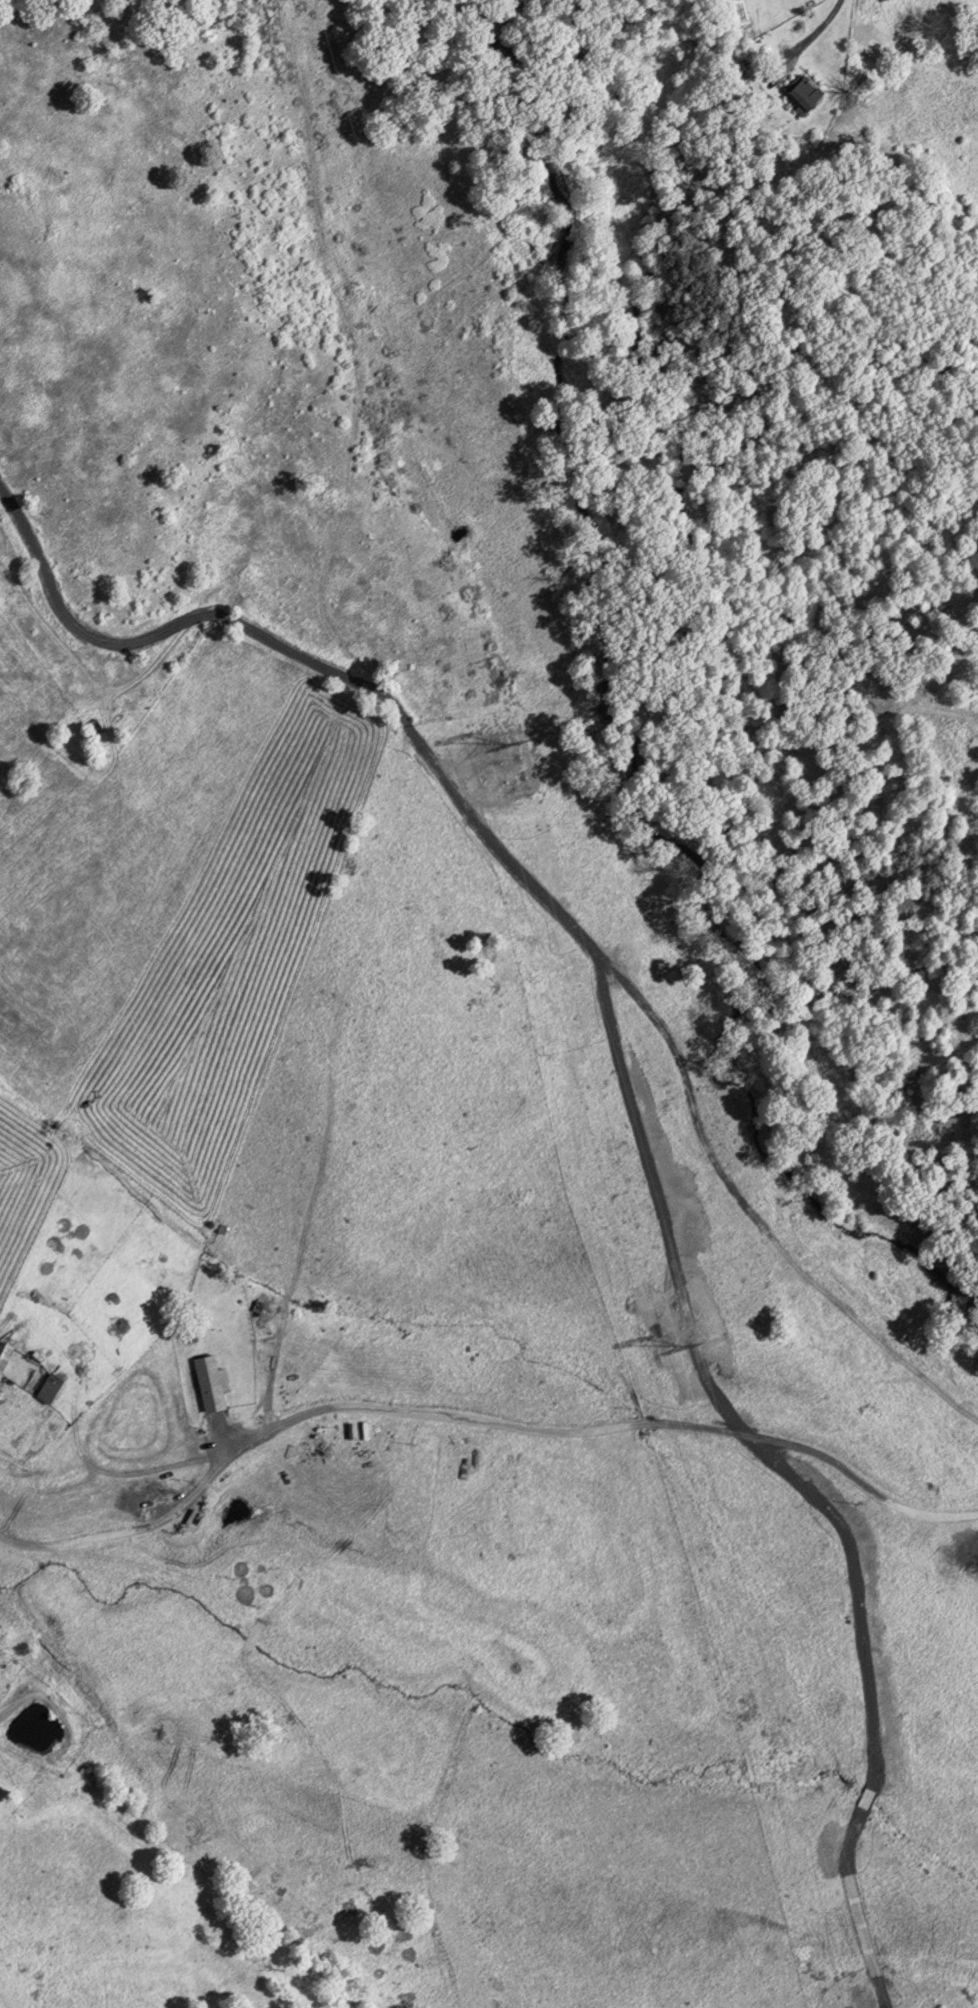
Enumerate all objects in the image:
road: (812, 35)
power tower: (502, 739)
power tower: (674, 1344)
building: (2, 1349)
building: (207, 1381)
building: (45, 1387)
road: (610, 1427)

